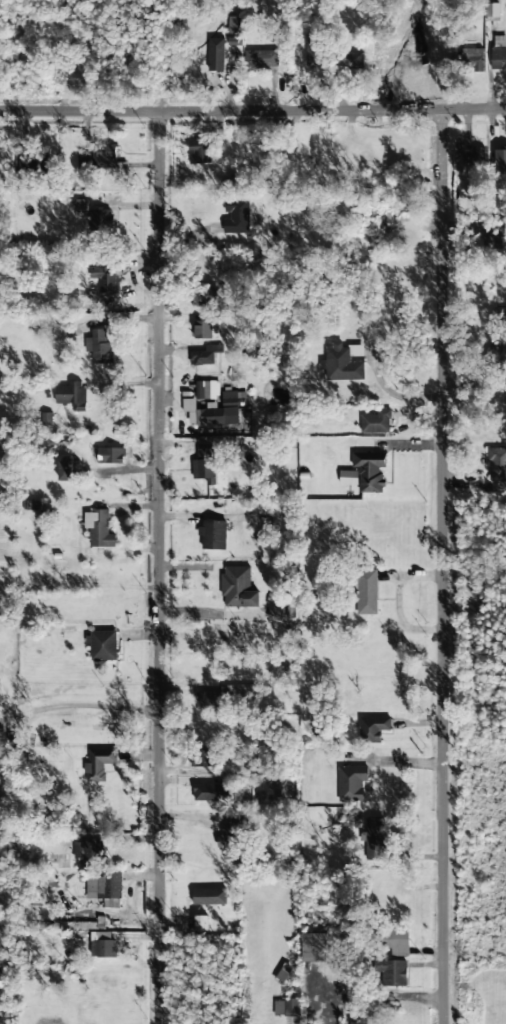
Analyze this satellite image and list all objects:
building: (493, 12)
building: (313, 49)
building: (215, 55)
building: (498, 55)
building: (262, 59)
building: (473, 59)
building: (351, 60)
road: (253, 112)
building: (198, 151)
building: (105, 156)
building: (474, 156)
building: (32, 164)
building: (80, 205)
building: (236, 217)
building: (101, 220)
building: (492, 237)
building: (105, 278)
building: (202, 330)
building: (99, 346)
building: (496, 352)
building: (205, 355)
building: (343, 362)
building: (202, 390)
building: (70, 394)
building: (233, 399)
building: (209, 414)
building: (376, 422)
building: (111, 455)
building: (497, 465)
building: (204, 466)
building: (64, 471)
building: (370, 472)
building: (348, 478)
building: (98, 529)
building: (213, 534)
road: (440, 567)
road: (159, 568)
building: (238, 588)
building: (366, 592)
building: (102, 645)
building: (247, 691)
building: (209, 700)
building: (373, 728)
building: (201, 758)
building: (98, 764)
building: (351, 783)
building: (211, 792)
building: (236, 833)
building: (374, 838)
building: (88, 853)
building: (105, 889)
building: (209, 897)
building: (201, 923)
building: (83, 928)
building: (103, 936)
building: (397, 943)
building: (313, 948)
building: (103, 949)
building: (393, 973)
building: (5, 984)
building: (286, 1007)

